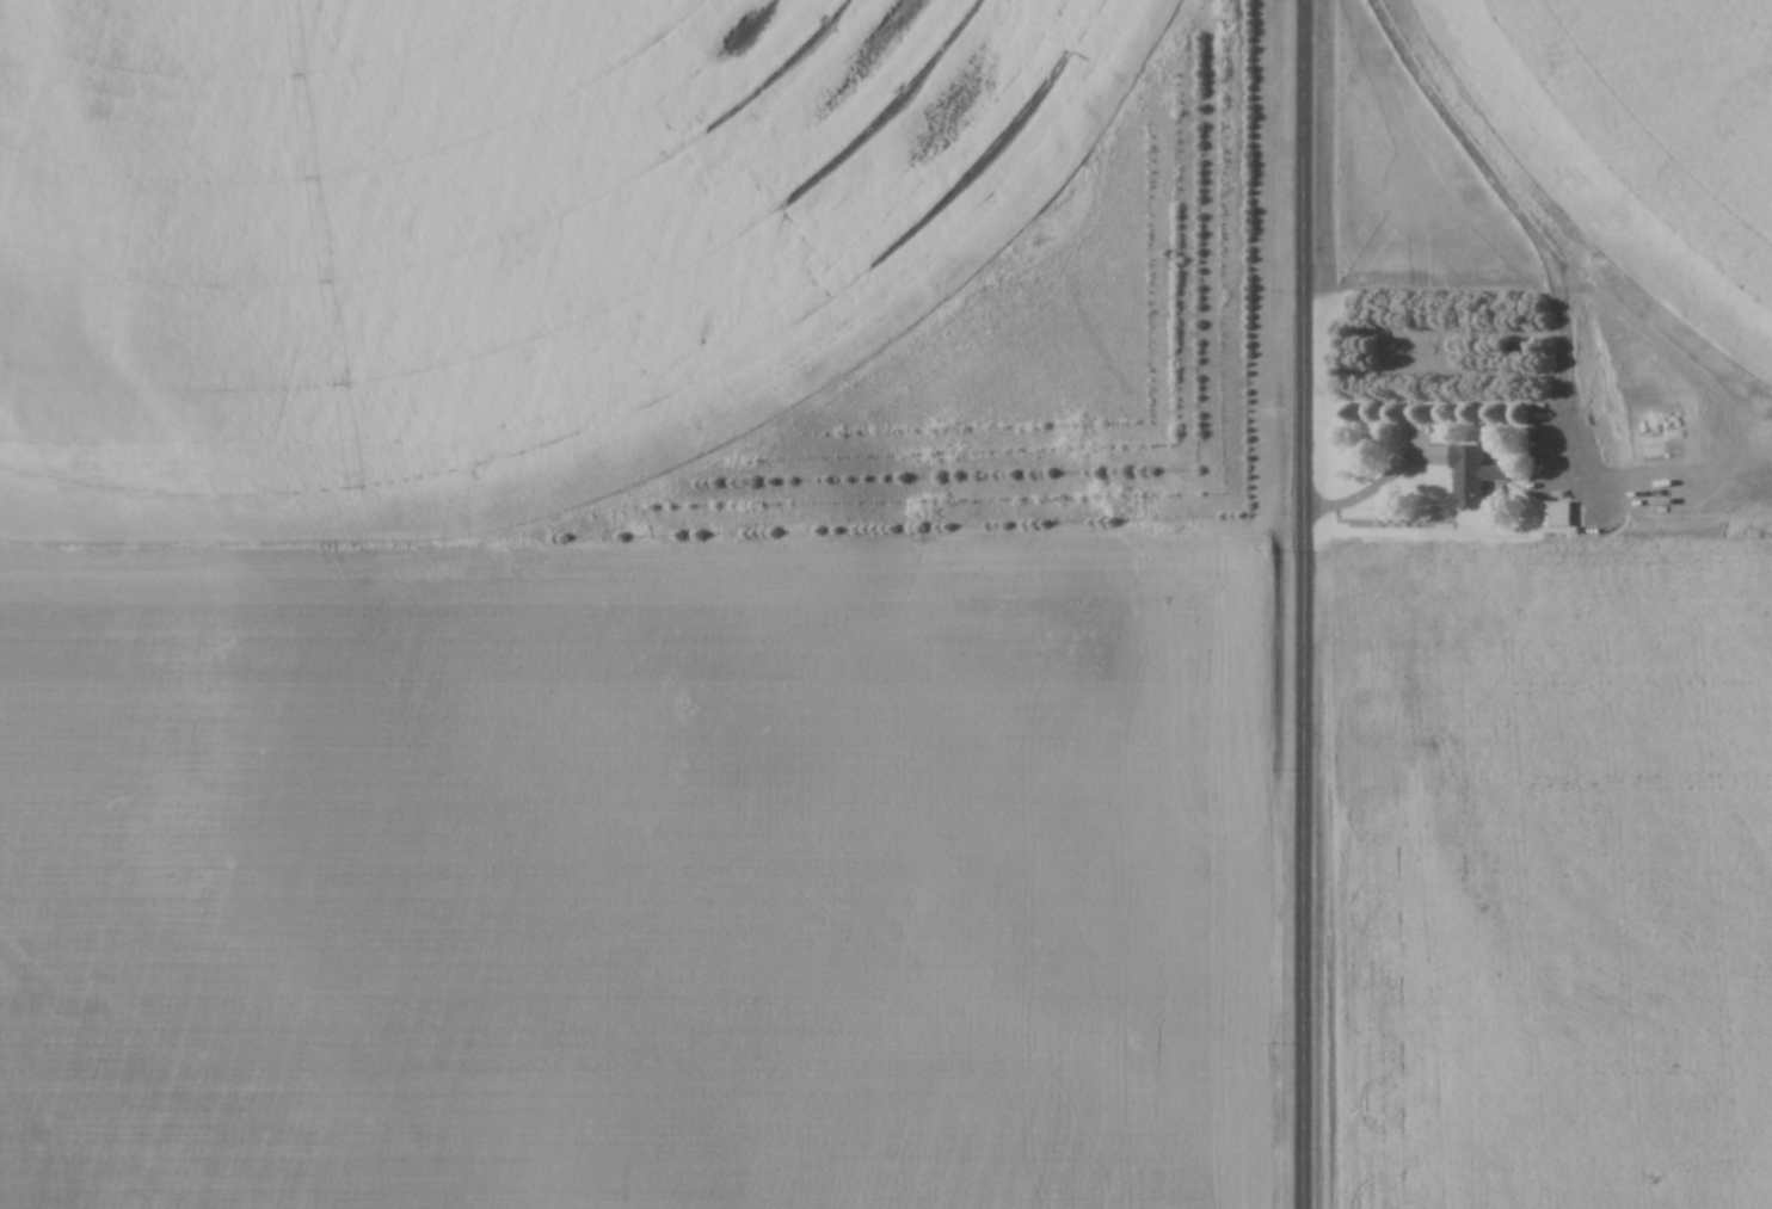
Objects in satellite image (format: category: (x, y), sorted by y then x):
building: (1476, 480)
road: (1371, 493)
building: (1561, 516)
road: (1303, 604)

